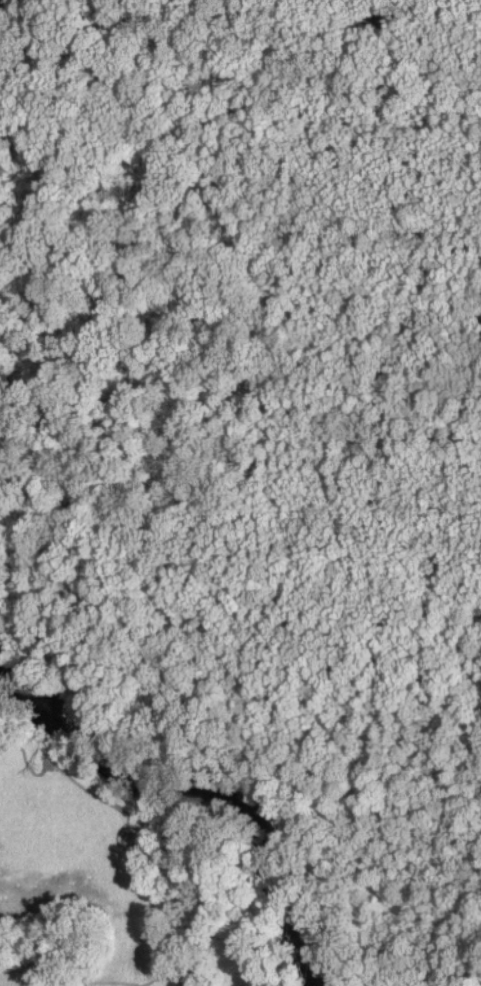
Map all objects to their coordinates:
river: (214, 795)

